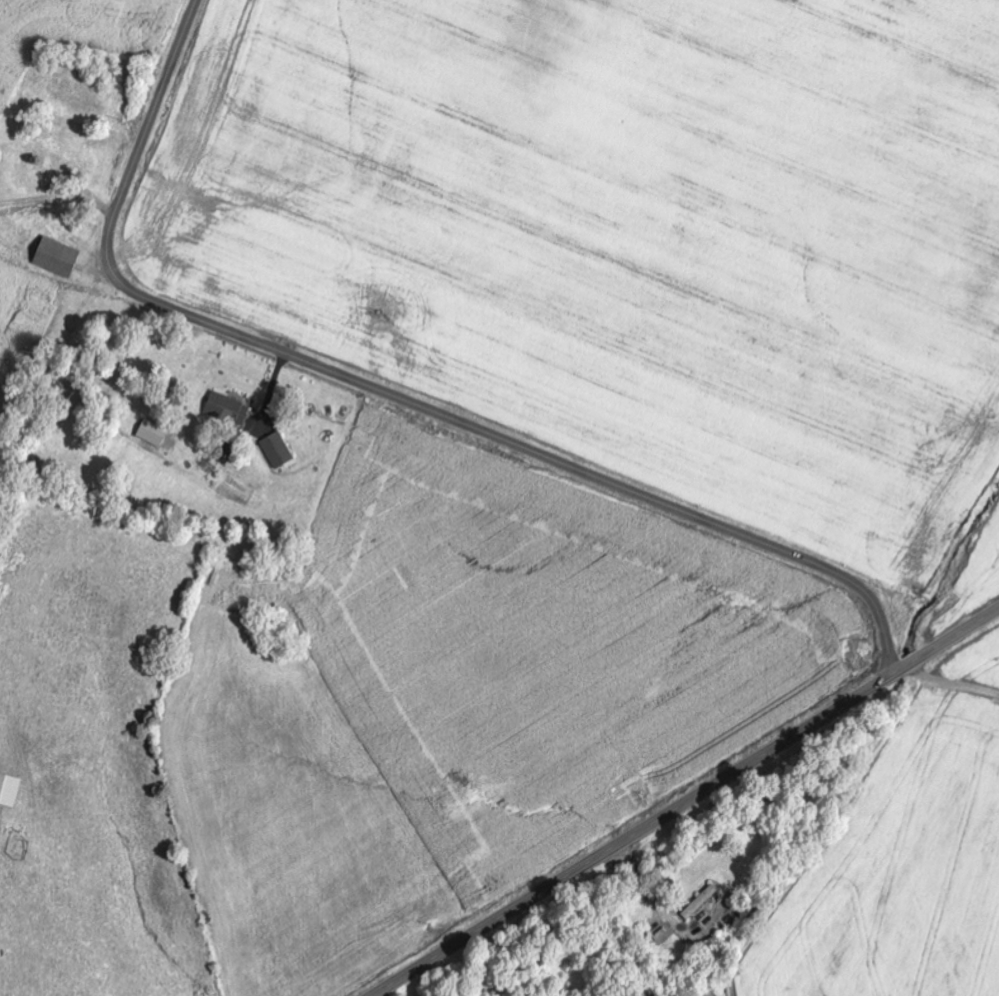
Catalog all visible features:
building: (55, 256)
road: (395, 397)
building: (228, 408)
building: (151, 432)
building: (277, 449)
road: (952, 683)
building: (10, 791)
road: (685, 802)

